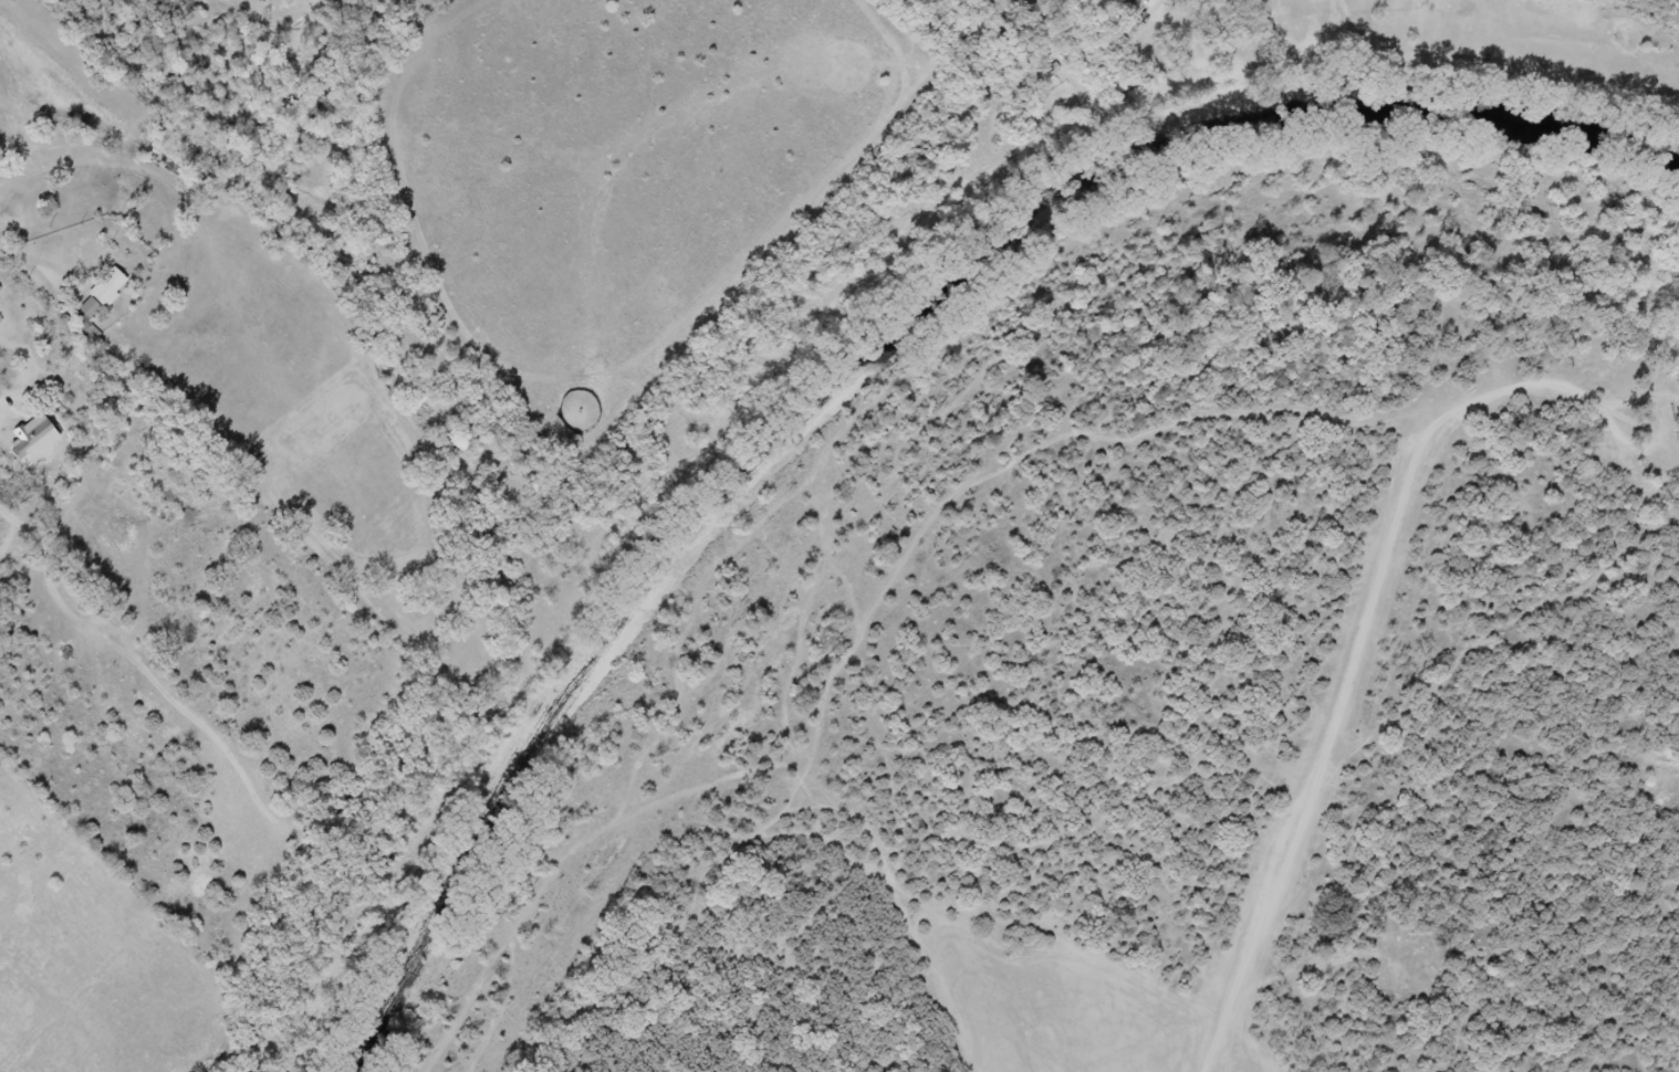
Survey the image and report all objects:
road: (994, 21)
building: (87, 250)
road: (28, 266)
building: (102, 293)
river: (853, 362)
building: (31, 434)
road: (1366, 623)

